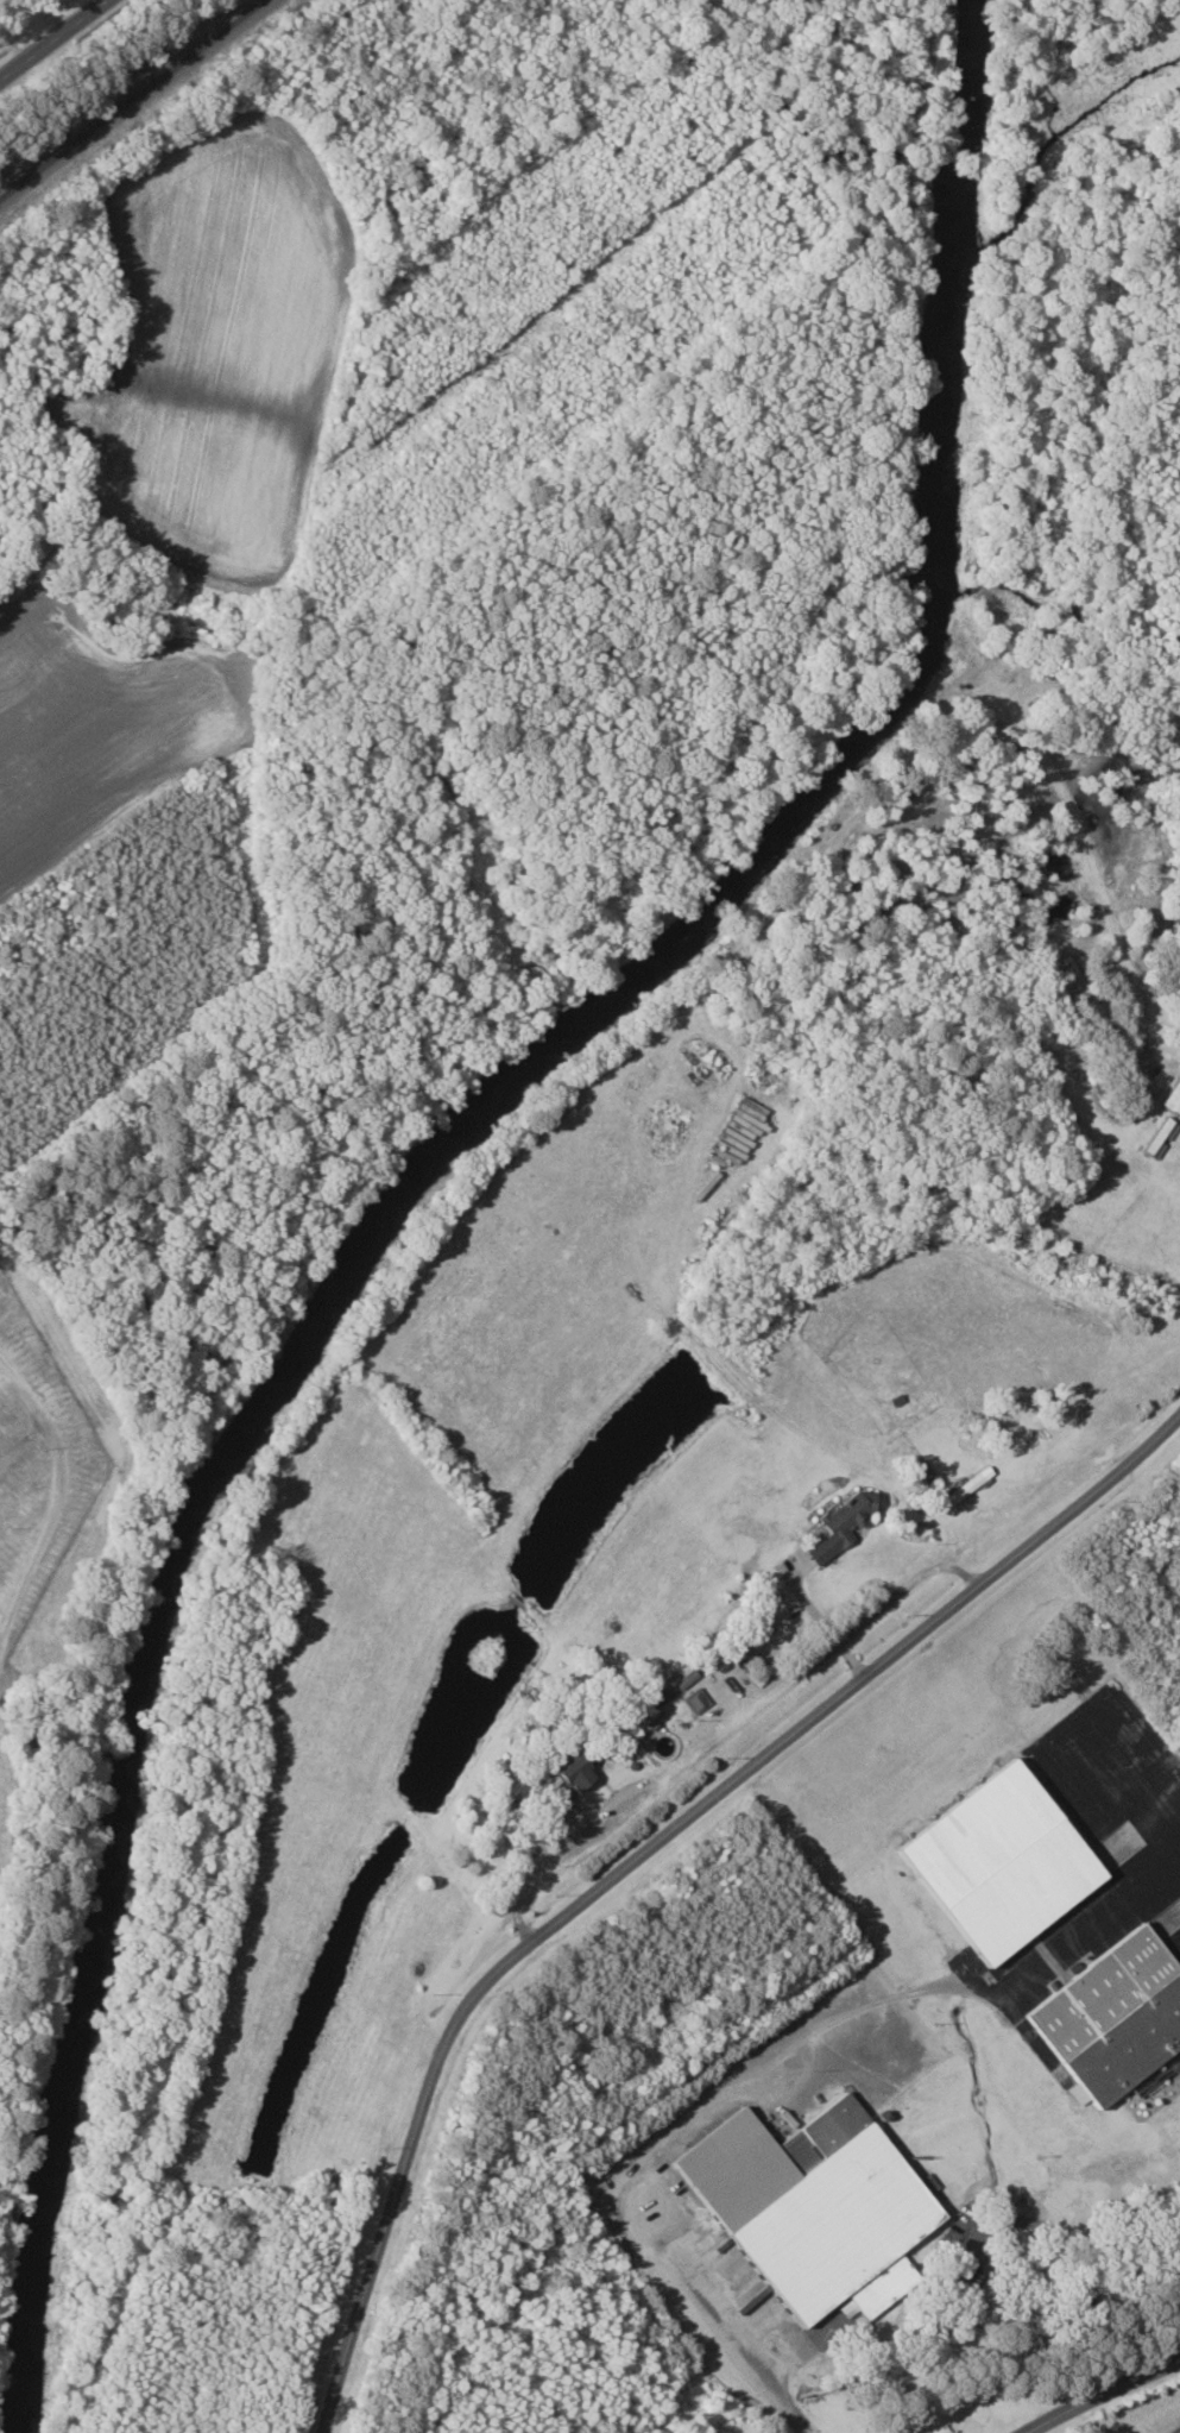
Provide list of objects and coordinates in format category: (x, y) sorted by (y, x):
road: (48, 36)
railway: (131, 99)
road: (1092, 687)
building: (1174, 1101)
river: (453, 1165)
road: (53, 1489)
building: (847, 1523)
building: (699, 1699)
building: (579, 1771)
road: (648, 1853)
building: (1008, 1862)
building: (1116, 2017)
road: (751, 2062)
building: (821, 2206)
road: (1103, 2397)

